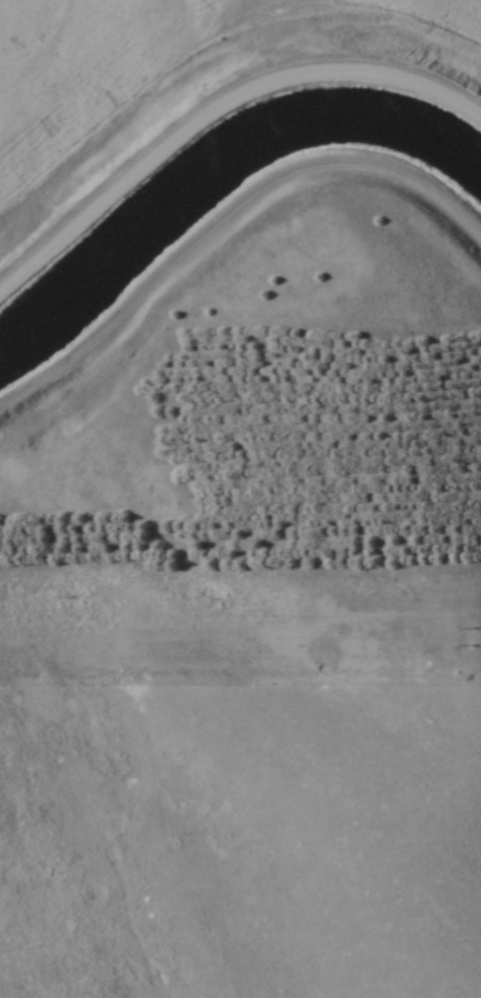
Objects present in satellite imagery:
road: (220, 113)
power tower: (473, 637)

